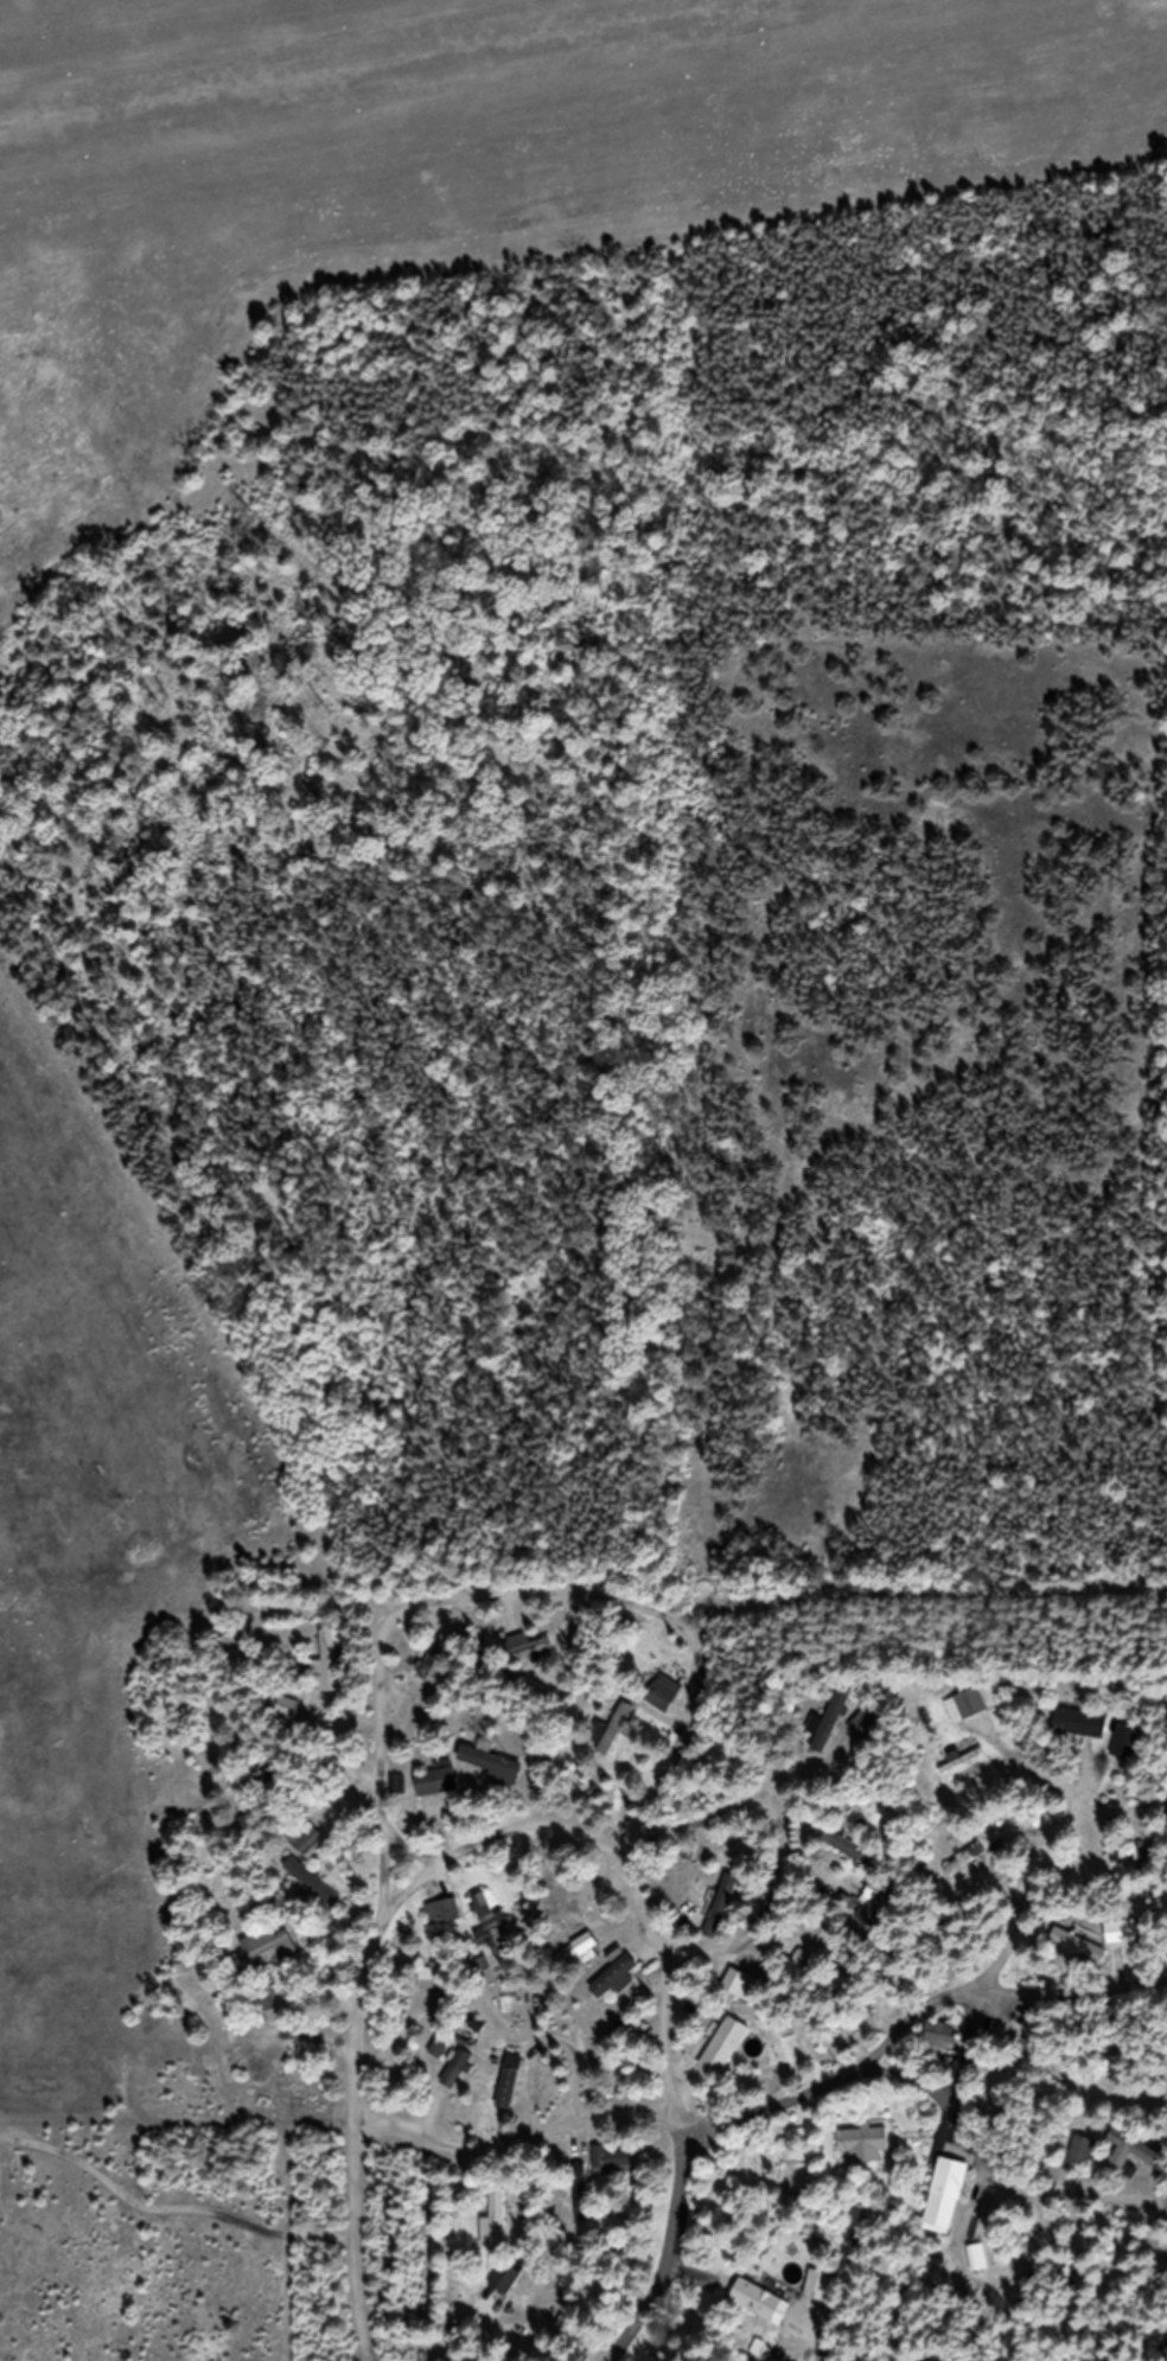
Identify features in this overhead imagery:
airport runway: (422, 70)
airport: (561, 847)
road: (563, 1590)
building: (527, 1659)
building: (435, 1670)
building: (327, 1676)
building: (663, 1704)
building: (967, 1718)
building: (282, 1721)
building: (831, 1734)
building: (865, 1735)
building: (612, 1742)
building: (487, 1776)
building: (434, 1794)
building: (397, 1797)
road: (366, 1807)
road: (676, 1831)
building: (302, 1850)
building: (846, 1857)
building: (967, 1874)
building: (307, 1890)
building: (550, 1900)
building: (874, 1902)
road: (1022, 1915)
building: (723, 1919)
building: (442, 1925)
building: (490, 1938)
building: (1122, 1945)
building: (267, 1958)
building: (1077, 1958)
building: (579, 1964)
building: (822, 1964)
road: (1161, 1977)
building: (614, 1990)
building: (938, 2047)
building: (725, 2059)
building: (451, 2070)
road: (1066, 2078)
building: (281, 2087)
building: (519, 2093)
road: (771, 2110)
building: (862, 2157)
building: (1134, 2159)
building: (1083, 2164)
road: (1000, 2168)
building: (611, 2172)
building: (581, 2203)
building: (945, 2209)
building: (496, 2233)
building: (512, 2293)
building: (818, 2298)
building: (759, 2314)

